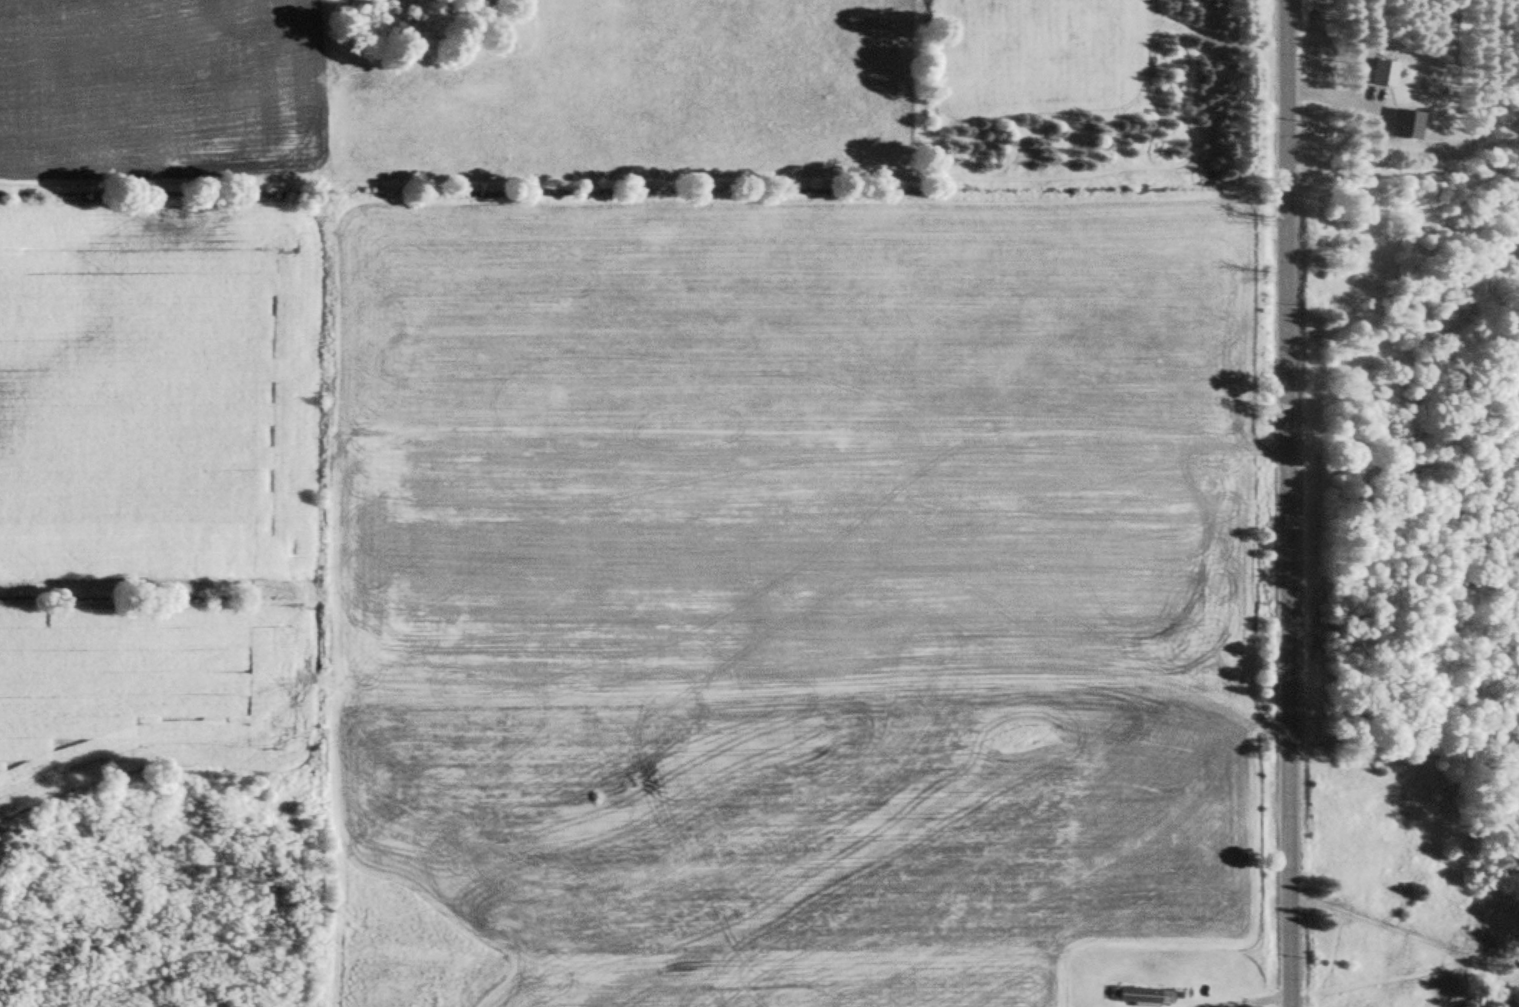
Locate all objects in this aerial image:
building: (1382, 72)
building: (1404, 123)
road: (1284, 503)
building: (1139, 997)

